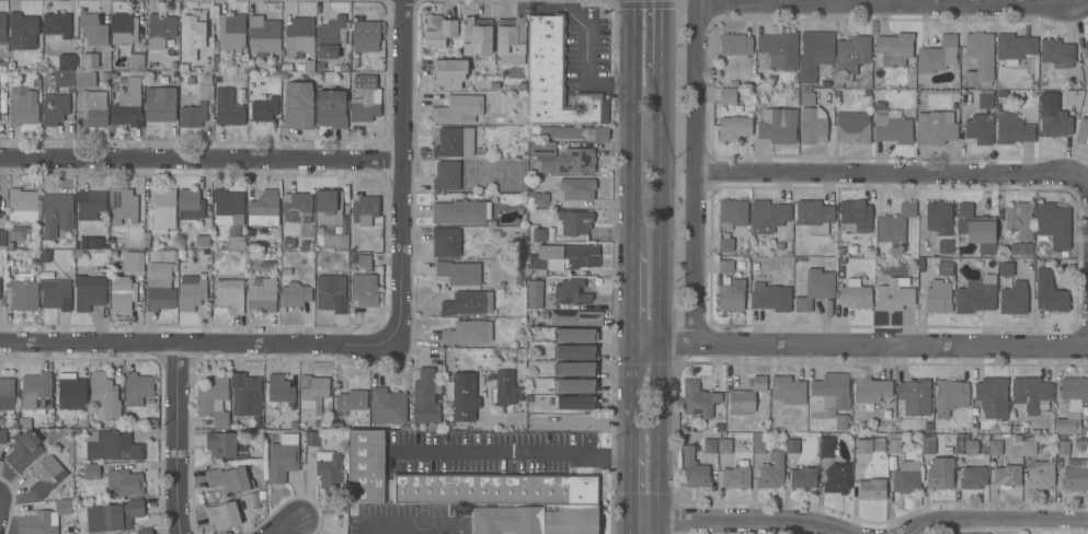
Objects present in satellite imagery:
road: (892, 3)
building: (57, 25)
building: (2, 27)
building: (124, 27)
building: (93, 30)
building: (160, 30)
building: (22, 31)
building: (438, 31)
building: (192, 34)
building: (232, 34)
building: (263, 34)
building: (366, 35)
building: (477, 35)
building: (298, 36)
building: (332, 36)
road: (660, 37)
building: (511, 38)
building: (735, 44)
building: (1013, 47)
building: (1086, 47)
building: (778, 49)
building: (893, 49)
building: (1056, 51)
building: (814, 54)
building: (851, 54)
building: (937, 55)
building: (980, 59)
building: (90, 60)
building: (67, 61)
building: (136, 61)
road: (585, 61)
building: (219, 62)
building: (305, 65)
building: (3, 66)
building: (448, 73)
building: (64, 78)
building: (84, 78)
building: (554, 79)
building: (728, 95)
building: (364, 98)
building: (808, 98)
building: (985, 98)
building: (128, 103)
building: (160, 103)
building: (2, 105)
building: (298, 105)
building: (23, 106)
building: (94, 107)
building: (228, 107)
building: (331, 107)
building: (54, 108)
building: (196, 108)
building: (264, 108)
building: (459, 108)
building: (1054, 121)
building: (813, 124)
road: (631, 125)
building: (778, 125)
building: (734, 127)
building: (852, 127)
building: (892, 127)
building: (935, 127)
building: (980, 128)
building: (1012, 128)
building: (1083, 130)
building: (564, 131)
building: (602, 133)
building: (455, 141)
building: (564, 155)
road: (199, 158)
road: (400, 171)
road: (694, 171)
road: (893, 172)
building: (447, 175)
building: (577, 188)
building: (539, 199)
building: (24, 205)
building: (91, 205)
building: (124, 205)
building: (191, 205)
building: (296, 206)
building: (228, 207)
building: (264, 208)
building: (161, 210)
building: (365, 210)
building: (459, 211)
building: (57, 213)
building: (733, 213)
building: (768, 216)
building: (814, 216)
building: (856, 216)
building: (939, 217)
building: (331, 219)
building: (574, 221)
building: (895, 224)
building: (1020, 224)
building: (1053, 224)
building: (977, 229)
building: (542, 234)
building: (19, 235)
building: (2, 239)
building: (112, 239)
building: (203, 241)
building: (446, 241)
building: (288, 244)
building: (725, 244)
building: (305, 245)
building: (946, 246)
building: (561, 257)
building: (364, 260)
building: (130, 262)
building: (725, 266)
building: (944, 268)
building: (1006, 268)
building: (459, 272)
building: (160, 287)
building: (815, 288)
building: (192, 289)
building: (89, 291)
building: (123, 292)
building: (365, 292)
building: (571, 292)
building: (1050, 292)
building: (24, 293)
building: (230, 293)
building: (263, 293)
building: (295, 293)
building: (331, 293)
building: (57, 294)
building: (535, 294)
building: (976, 294)
building: (731, 295)
building: (856, 295)
building: (893, 295)
road: (631, 297)
building: (770, 297)
building: (938, 297)
building: (1013, 298)
building: (468, 302)
road: (660, 304)
building: (576, 317)
building: (468, 332)
building: (575, 335)
road: (195, 343)
road: (858, 344)
building: (575, 351)
building: (575, 368)
building: (575, 385)
building: (508, 386)
building: (137, 387)
building: (70, 390)
building: (787, 390)
building: (871, 390)
building: (312, 391)
building: (36, 392)
building: (7, 393)
building: (1031, 393)
building: (105, 394)
building: (247, 394)
building: (279, 394)
building: (829, 394)
building: (425, 396)
building: (463, 396)
building: (746, 396)
building: (915, 396)
building: (950, 396)
building: (993, 396)
road: (630, 398)
building: (698, 398)
building: (214, 399)
building: (352, 399)
building: (575, 402)
building: (1072, 404)
building: (388, 405)
road: (558, 420)
building: (841, 421)
building: (3, 436)
road: (175, 438)
building: (312, 438)
building: (894, 442)
building: (221, 443)
building: (758, 443)
building: (928, 443)
building: (998, 443)
building: (112, 444)
building: (964, 444)
building: (710, 445)
building: (724, 445)
building: (792, 445)
building: (863, 445)
building: (827, 446)
building: (1028, 446)
building: (1063, 446)
building: (23, 450)
road: (512, 452)
building: (283, 457)
building: (366, 465)
building: (329, 468)
building: (695, 469)
building: (91, 471)
building: (771, 471)
building: (940, 472)
building: (1041, 474)
building: (1075, 474)
building: (1006, 475)
building: (46, 476)
building: (735, 476)
building: (973, 476)
building: (803, 477)
building: (837, 477)
building: (906, 477)
building: (229, 478)
building: (124, 483)
building: (495, 488)
building: (872, 488)
road: (634, 490)
building: (245, 502)
building: (114, 515)
building: (224, 515)
building: (44, 519)
building: (537, 519)
road: (996, 520)
road: (406, 522)
road: (740, 523)
road: (287, 526)
road: (638, 530)
building: (145, 531)

